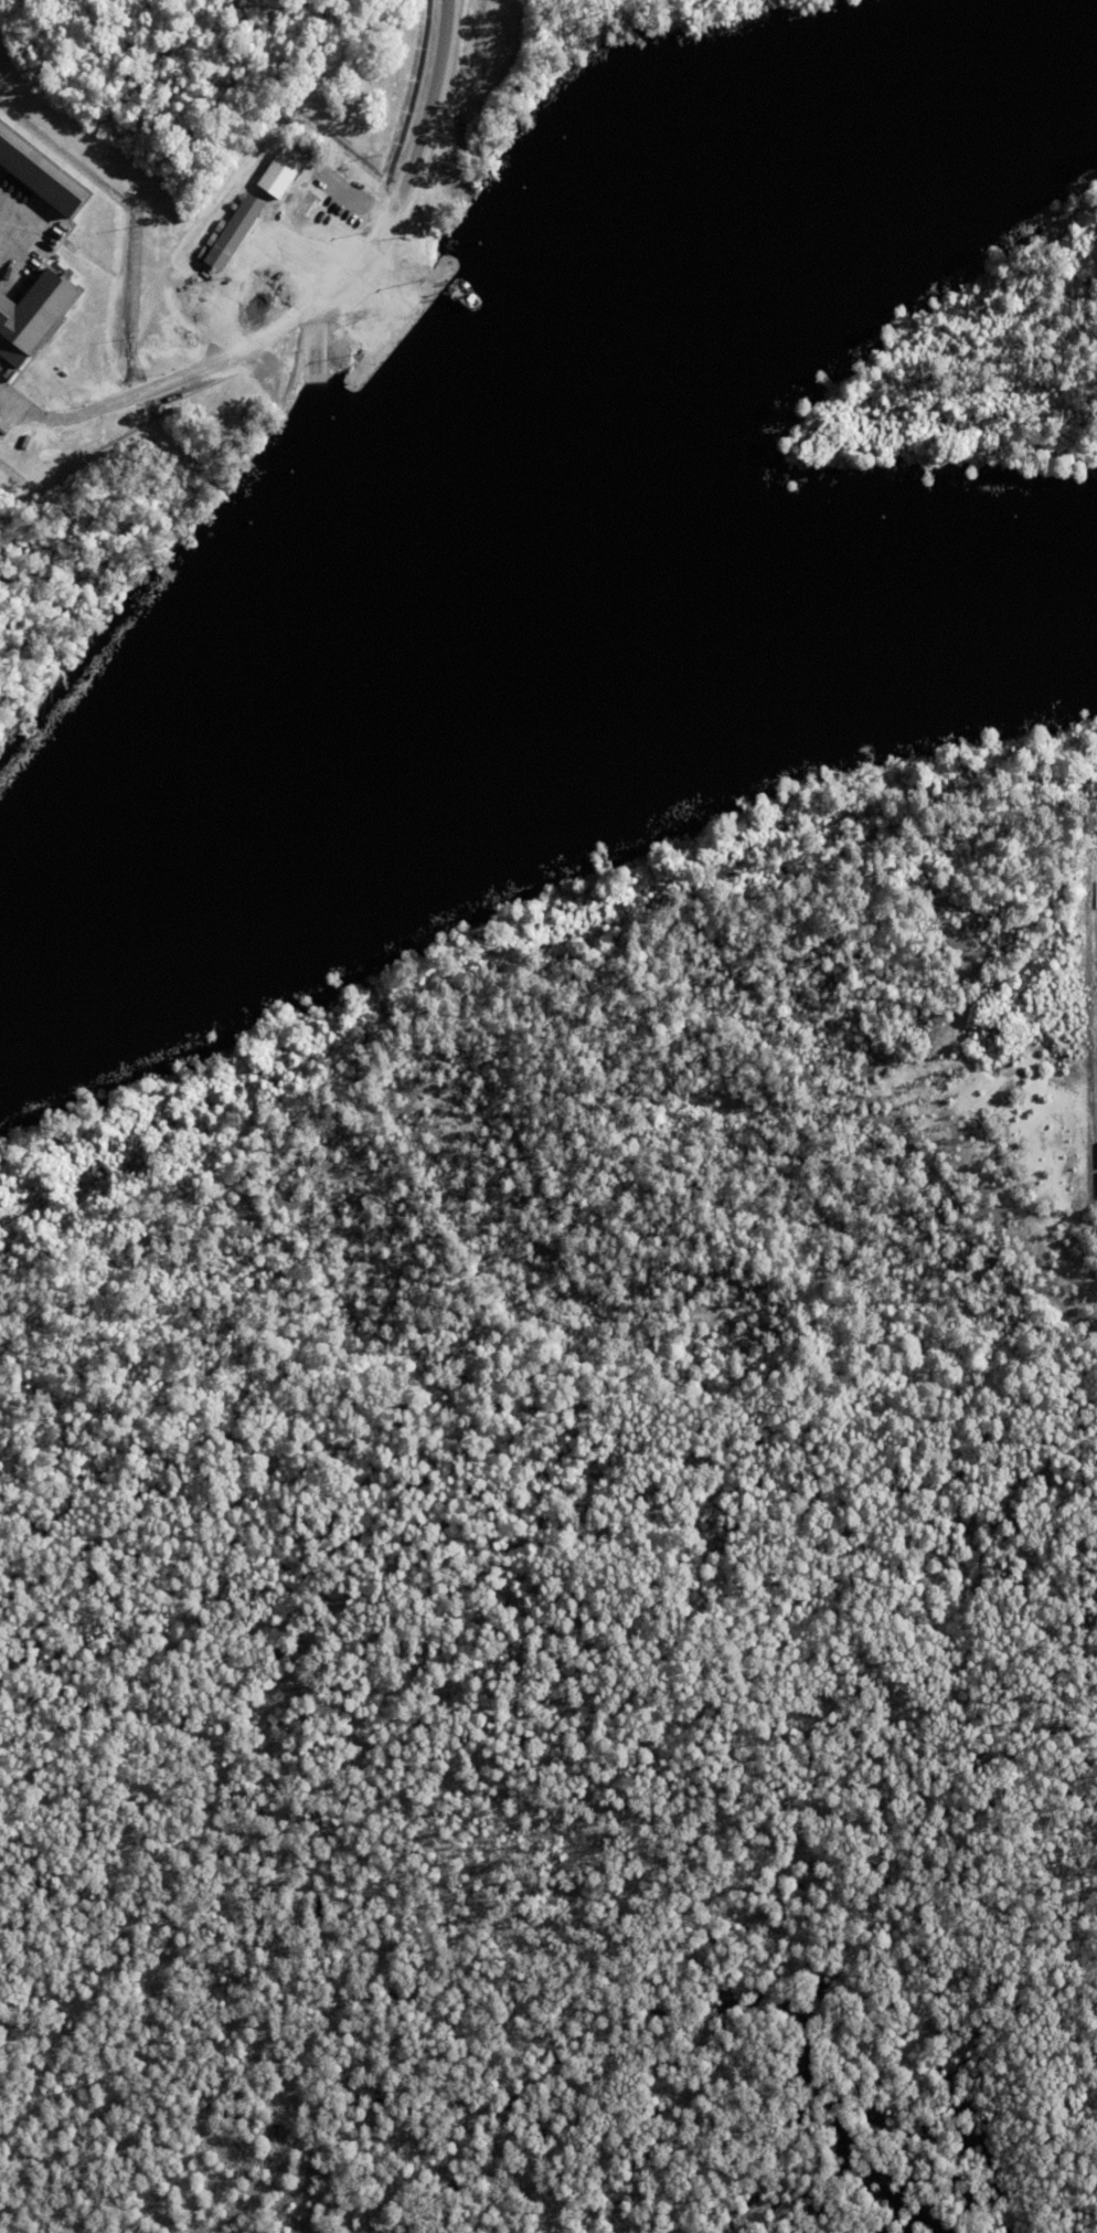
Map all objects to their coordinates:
road: (419, 136)
building: (286, 173)
building: (329, 173)
building: (36, 176)
building: (339, 186)
building: (268, 189)
building: (235, 232)
building: (30, 317)
building: (1096, 1153)

